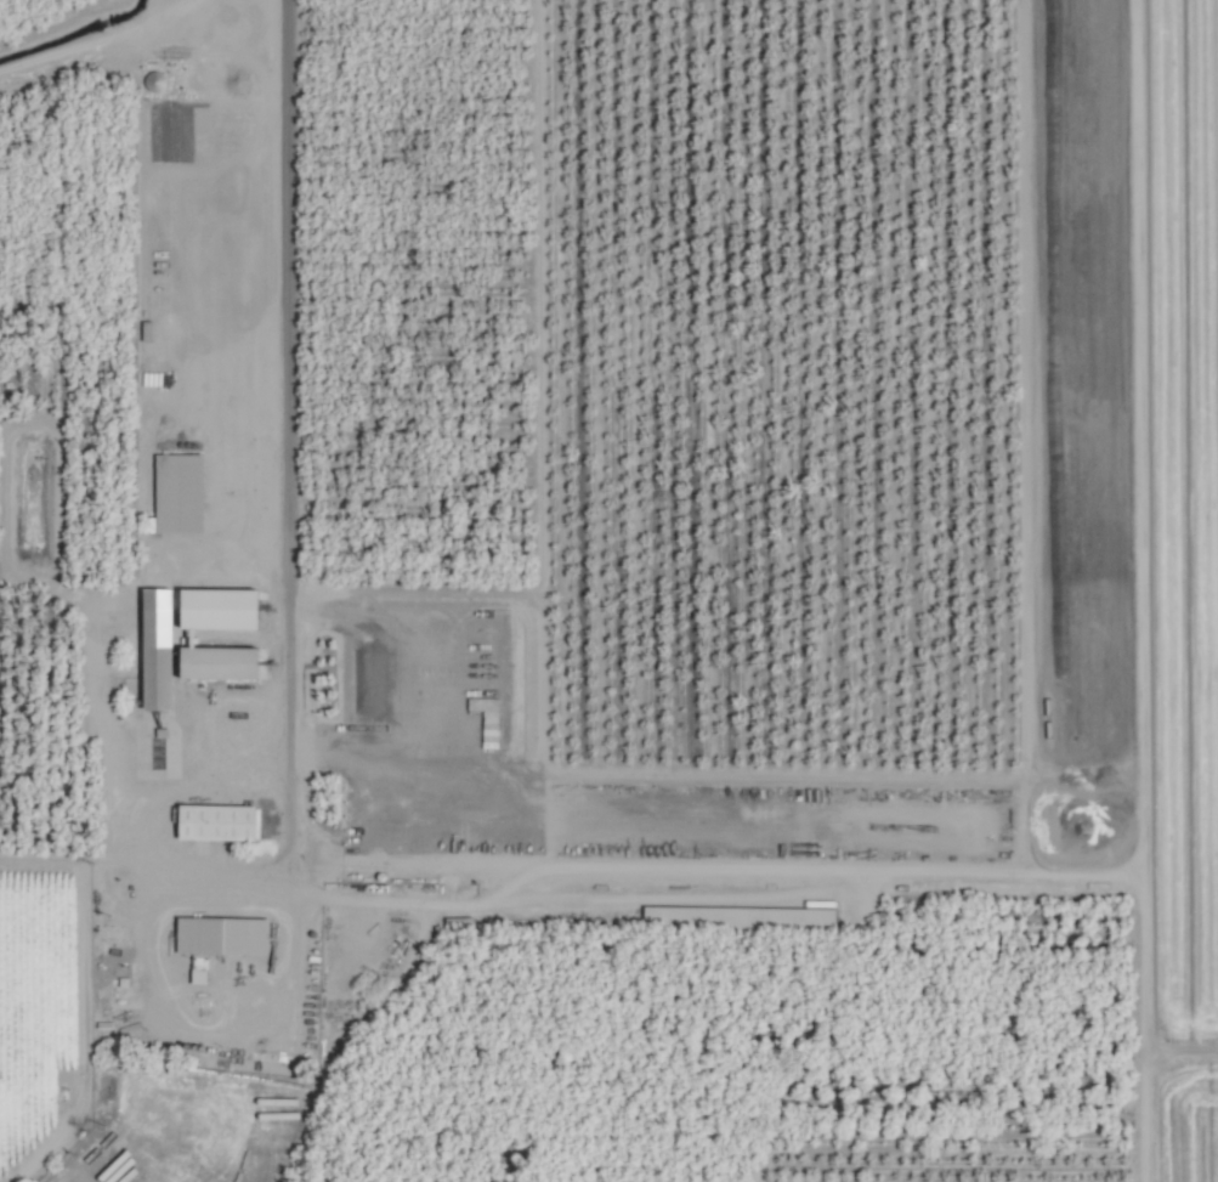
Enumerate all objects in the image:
road: (273, 432)
building: (180, 491)
crop: (608, 590)
building: (221, 609)
building: (159, 612)
building: (220, 662)
road: (1033, 809)
building: (217, 822)
road: (136, 863)
building: (249, 933)
road: (80, 1033)

